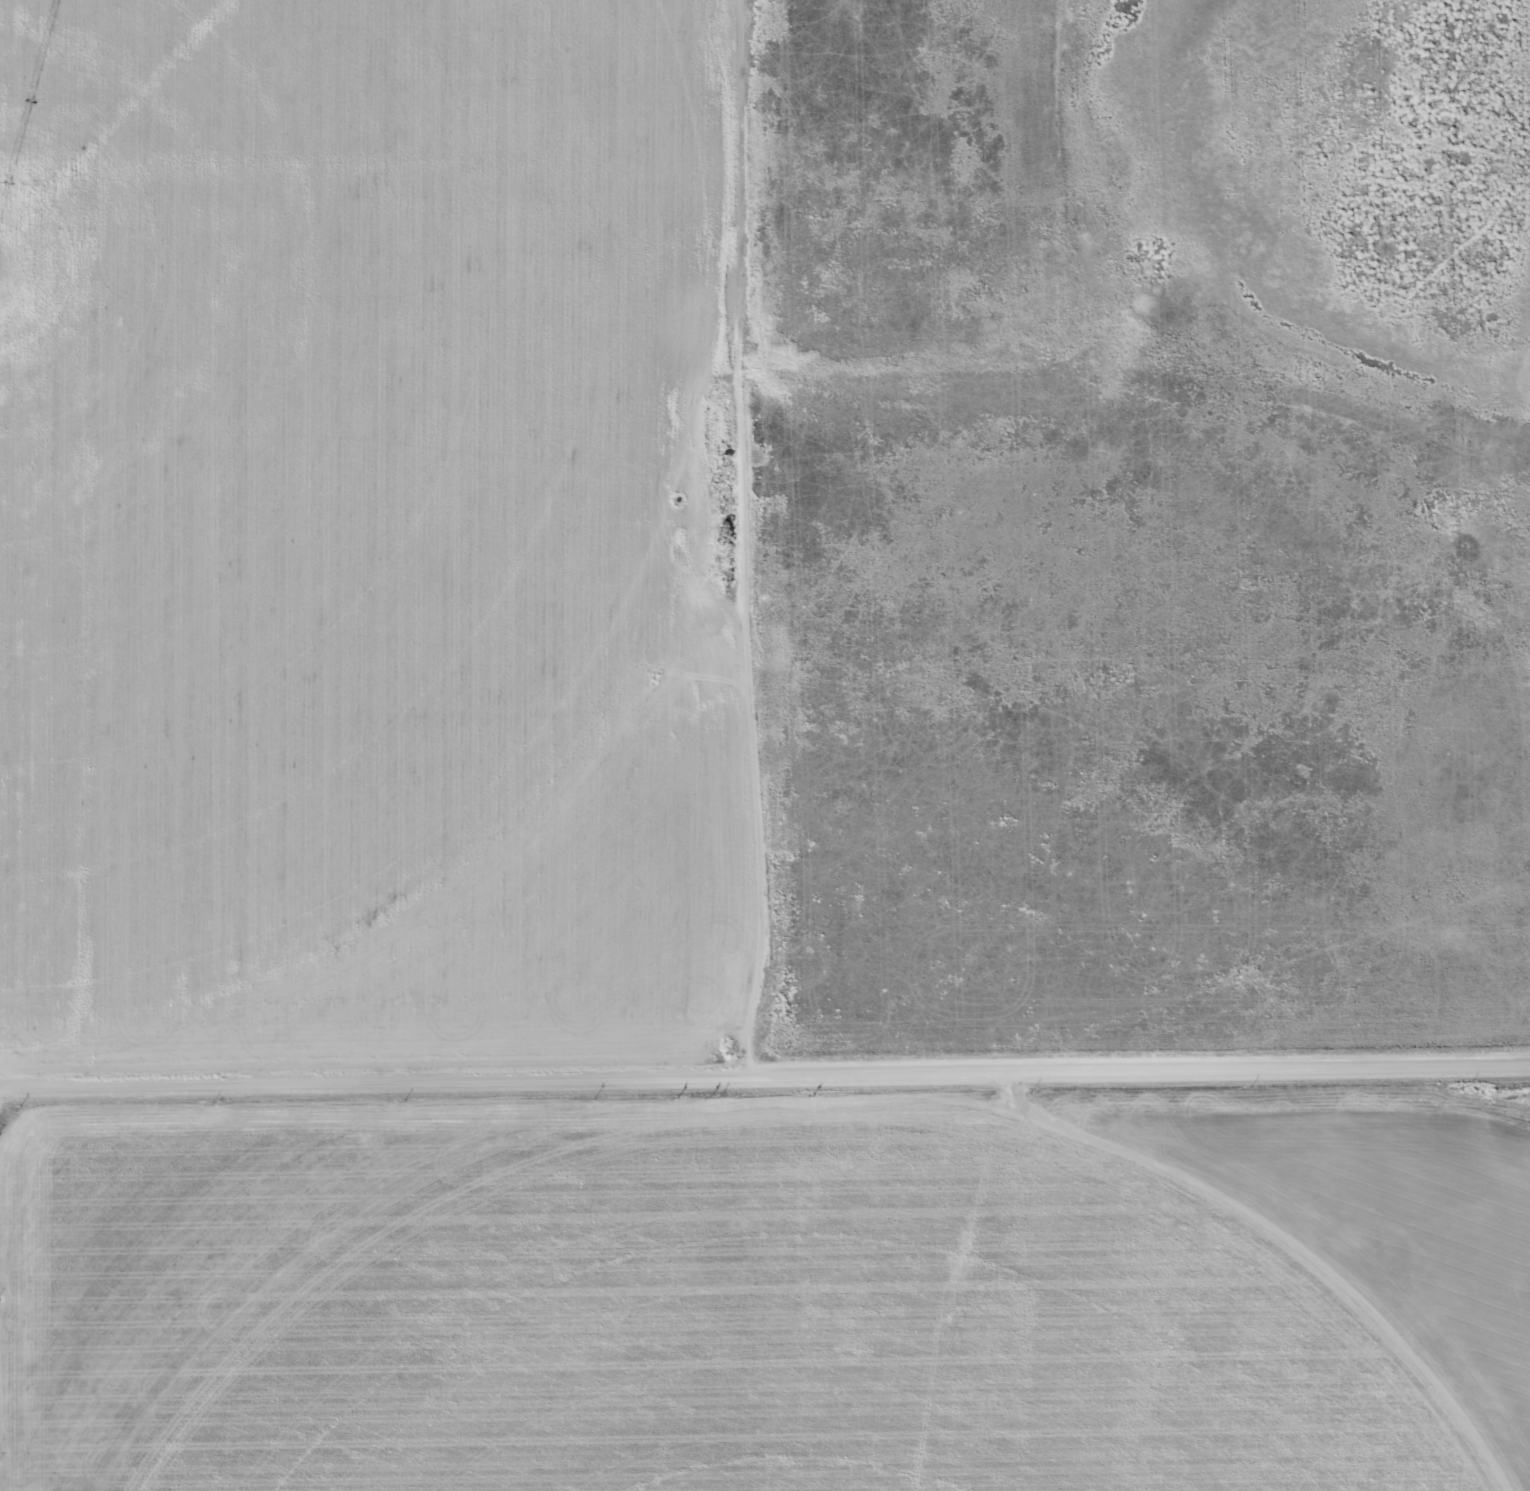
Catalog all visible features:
road: (765, 1078)

